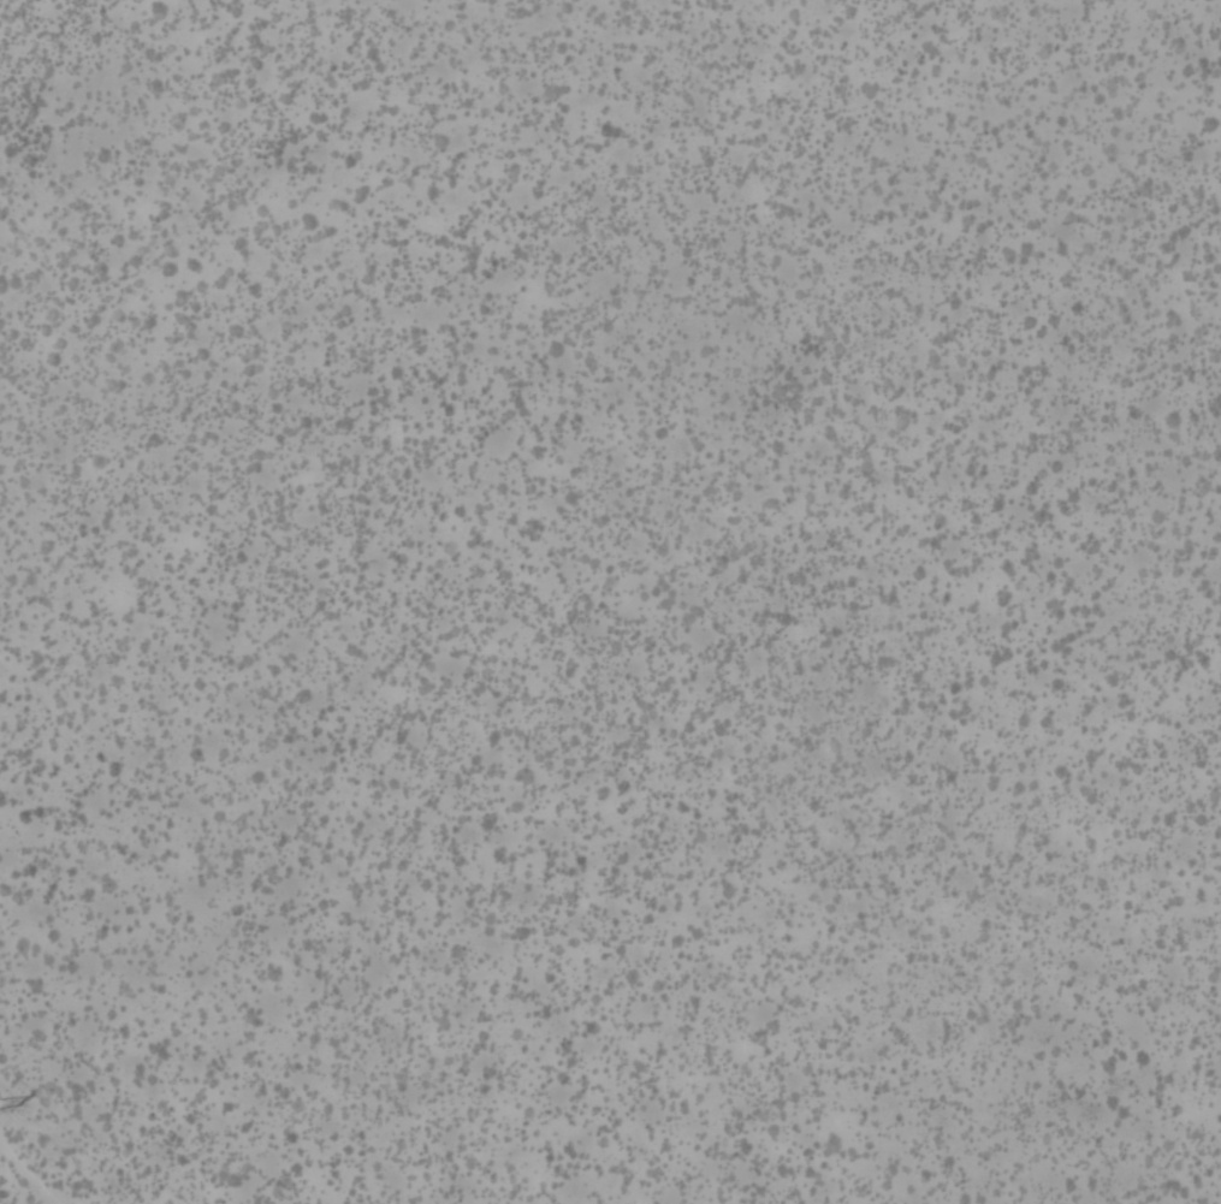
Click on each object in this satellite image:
road: (26, 1174)

